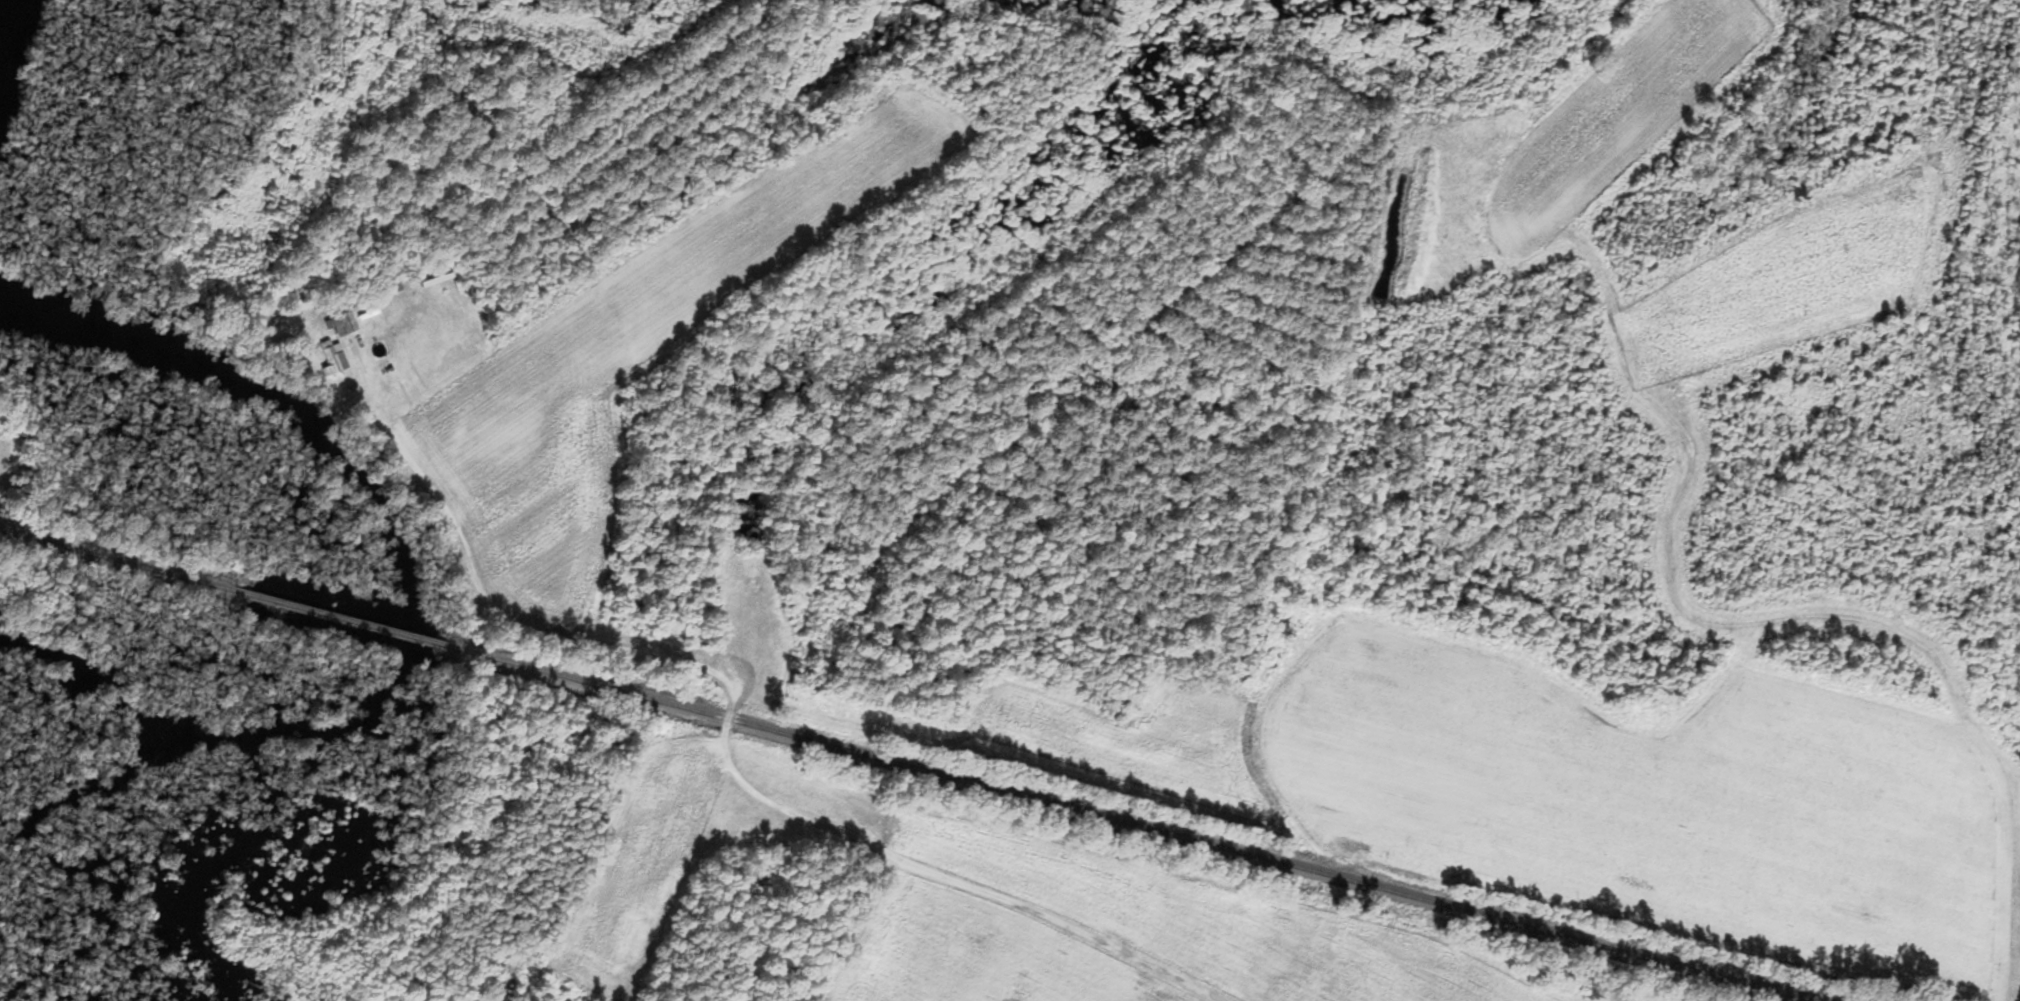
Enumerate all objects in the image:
building: (343, 325)
building: (334, 360)
railway: (906, 766)
road: (1189, 958)

